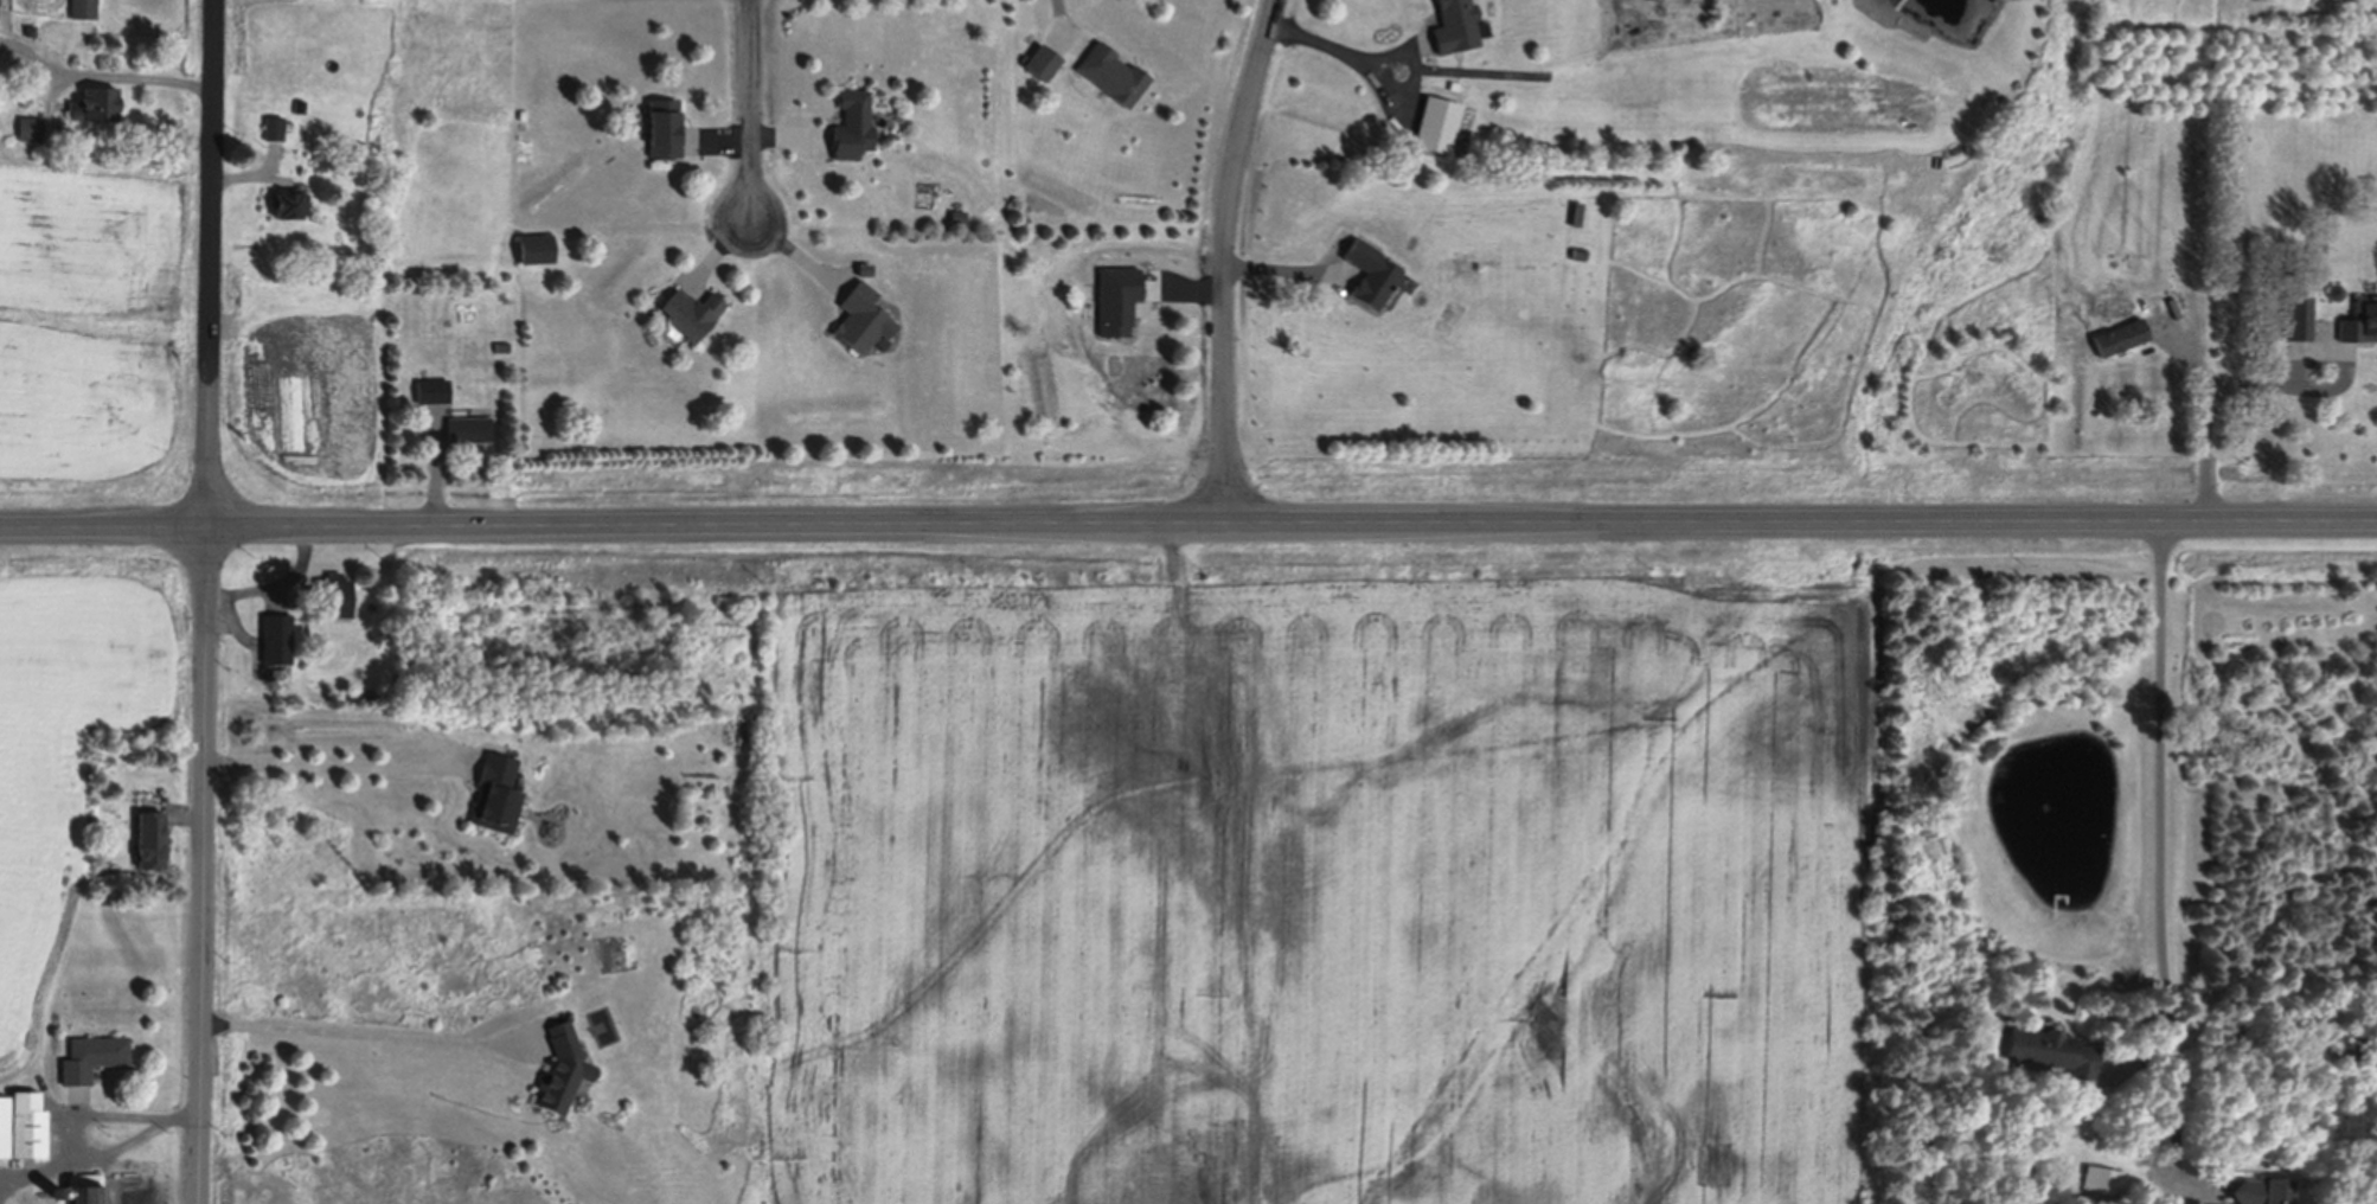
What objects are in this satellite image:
building: (84, 7)
building: (1457, 24)
building: (30, 26)
road: (1062, 26)
road: (1346, 50)
building: (1042, 57)
road: (104, 69)
building: (1113, 70)
building: (1454, 83)
building: (94, 97)
building: (300, 103)
road: (752, 110)
building: (1436, 119)
building: (852, 120)
building: (274, 123)
building: (665, 123)
building: (30, 124)
building: (290, 197)
building: (1034, 232)
building: (537, 245)
building: (1578, 250)
road: (1224, 260)
building: (865, 264)
building: (1370, 268)
road: (1282, 274)
building: (2334, 288)
building: (693, 309)
building: (2298, 312)
building: (863, 314)
building: (2360, 316)
building: (2120, 332)
building: (502, 345)
road: (2259, 384)
building: (433, 388)
building: (469, 427)
road: (1188, 526)
building: (331, 594)
road: (201, 601)
building: (752, 619)
building: (277, 635)
road: (325, 767)
building: (496, 792)
building: (150, 834)
road: (2165, 851)
road: (365, 1035)
building: (2052, 1048)
building: (92, 1055)
building: (563, 1067)
road: (95, 1110)
building: (28, 1122)
building: (5, 1125)
road: (102, 1154)
building: (2106, 1179)
building: (88, 1187)
building: (2266, 1189)
building: (59, 1192)

